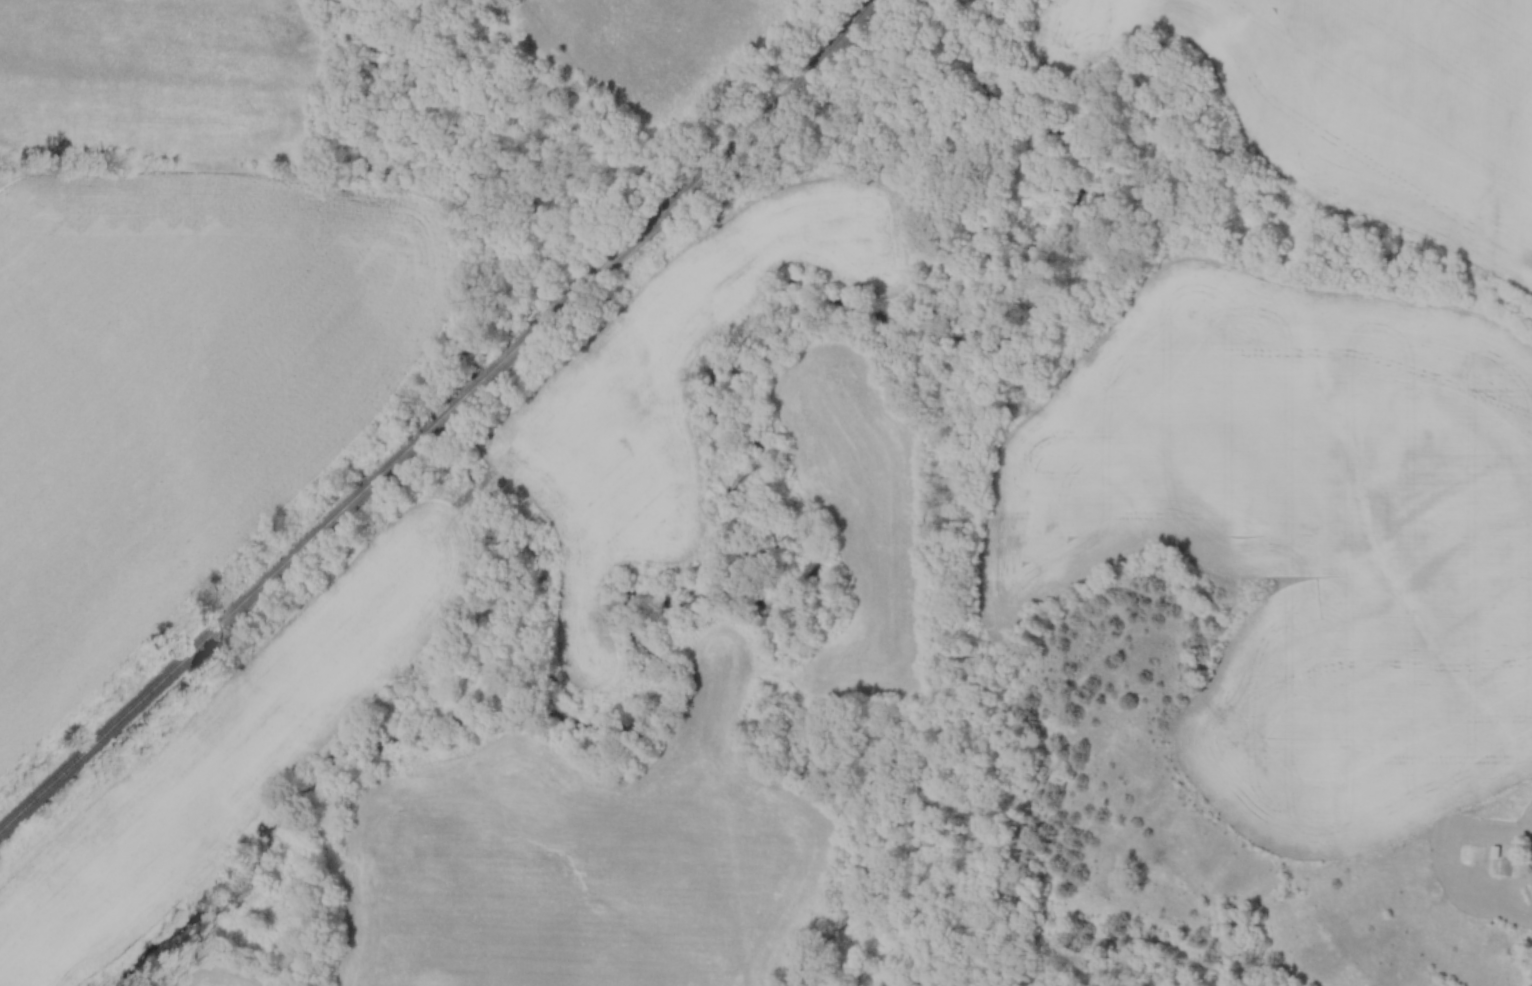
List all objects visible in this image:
crop: (1365, 105)
railway: (445, 423)
crop: (1300, 540)
building: (1473, 855)

